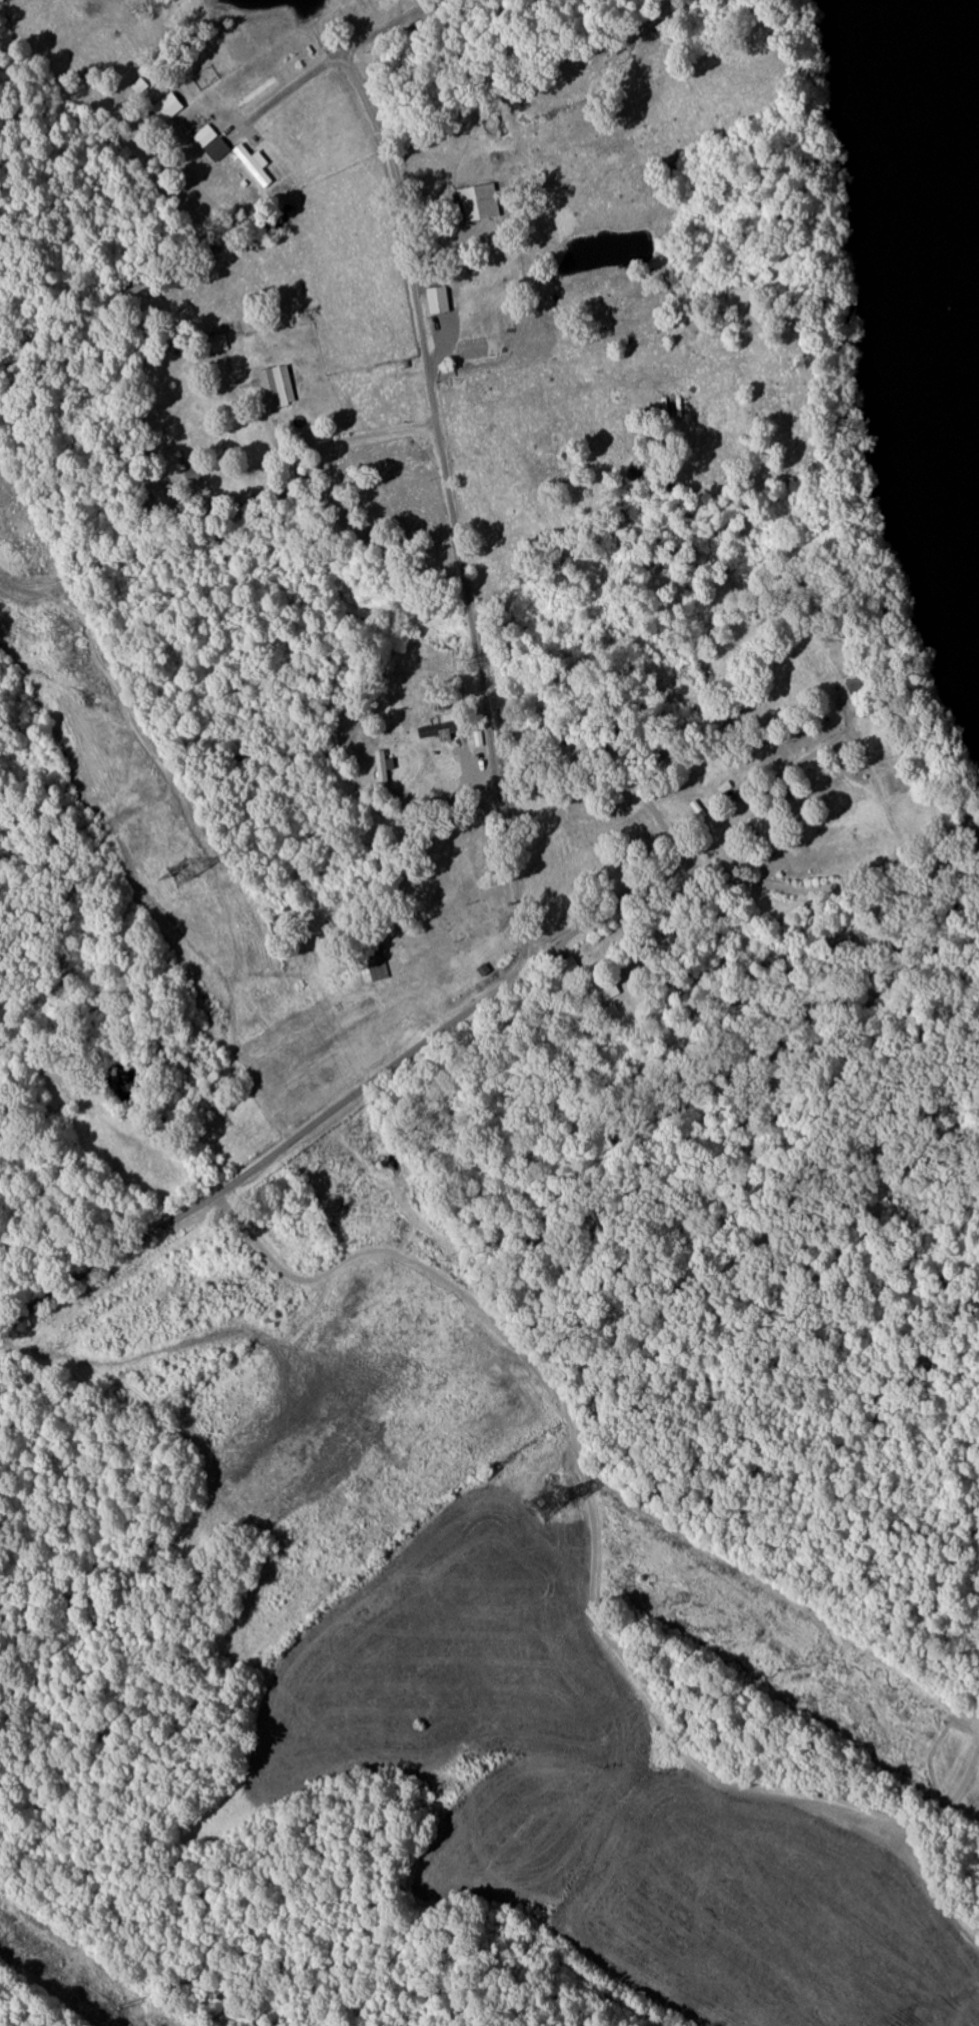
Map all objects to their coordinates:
road: (335, 63)
building: (171, 108)
building: (213, 143)
building: (256, 165)
river: (939, 188)
building: (469, 205)
building: (439, 300)
building: (223, 352)
building: (278, 387)
road: (454, 506)
building: (437, 733)
building: (385, 763)
road: (455, 800)
road: (660, 818)
power tower: (181, 875)
building: (612, 987)
road: (338, 1108)
power tower: (545, 1503)

